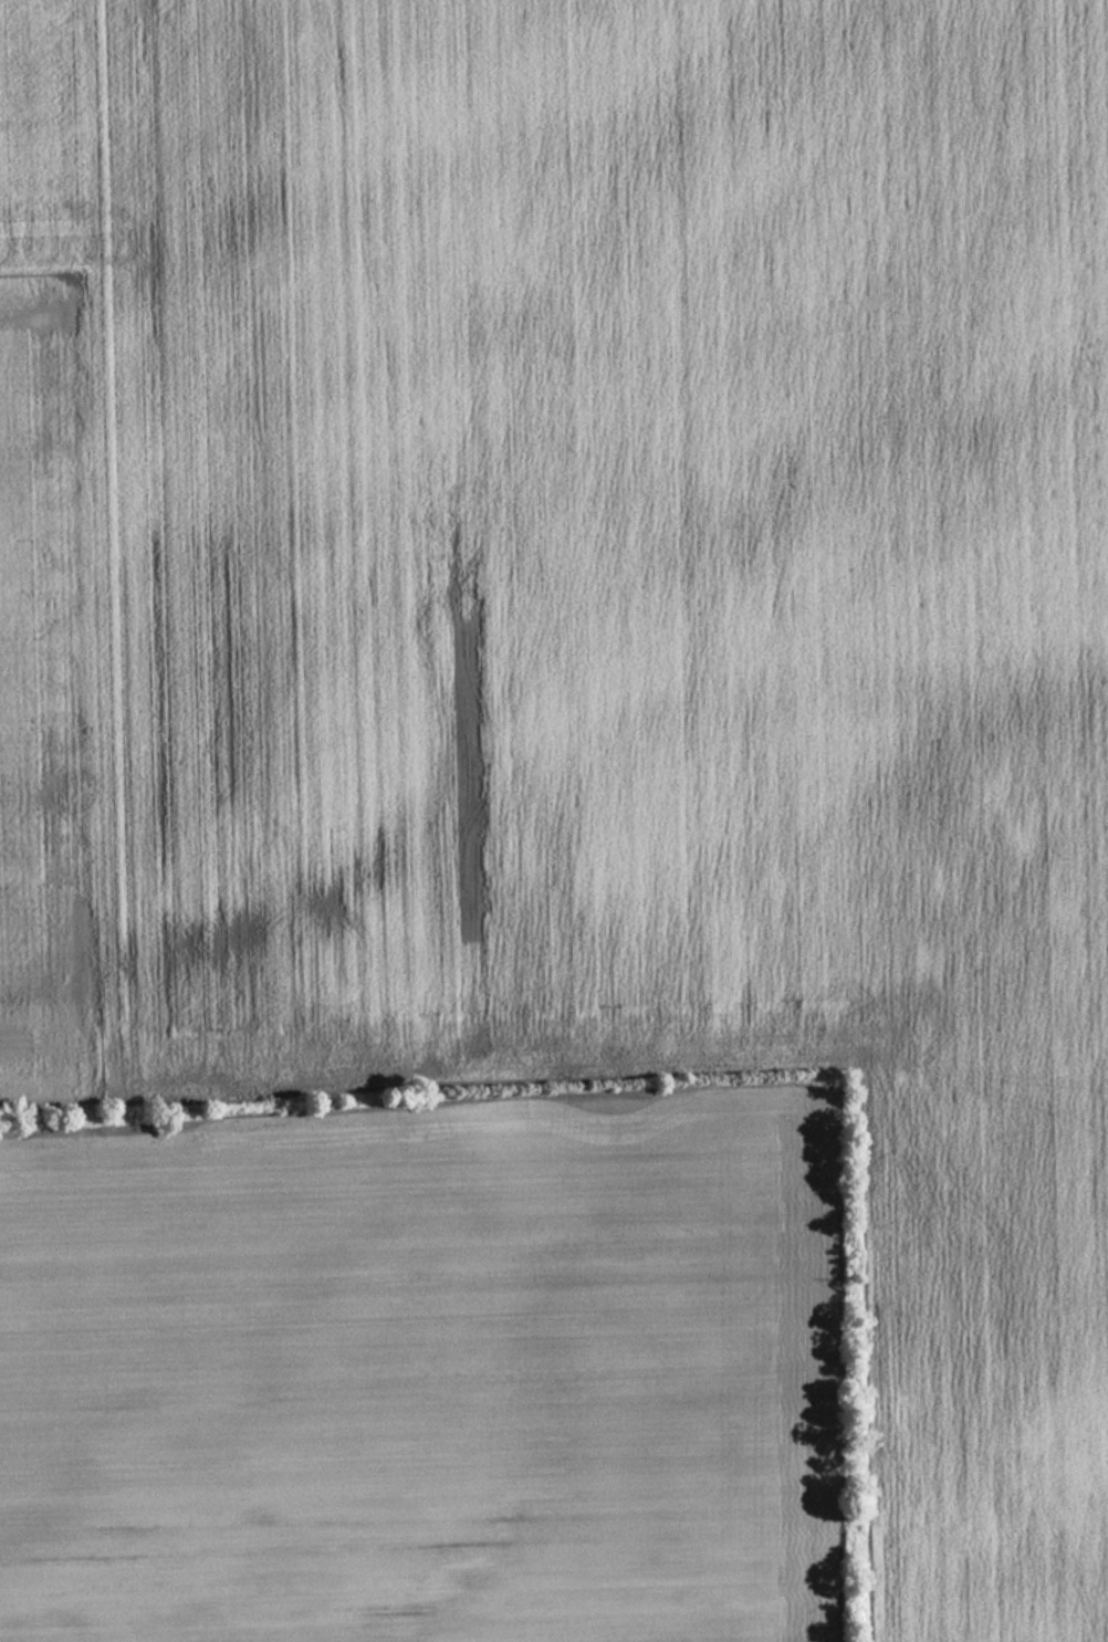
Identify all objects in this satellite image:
crop: (550, 537)
crop: (975, 1353)
crop: (421, 1369)

